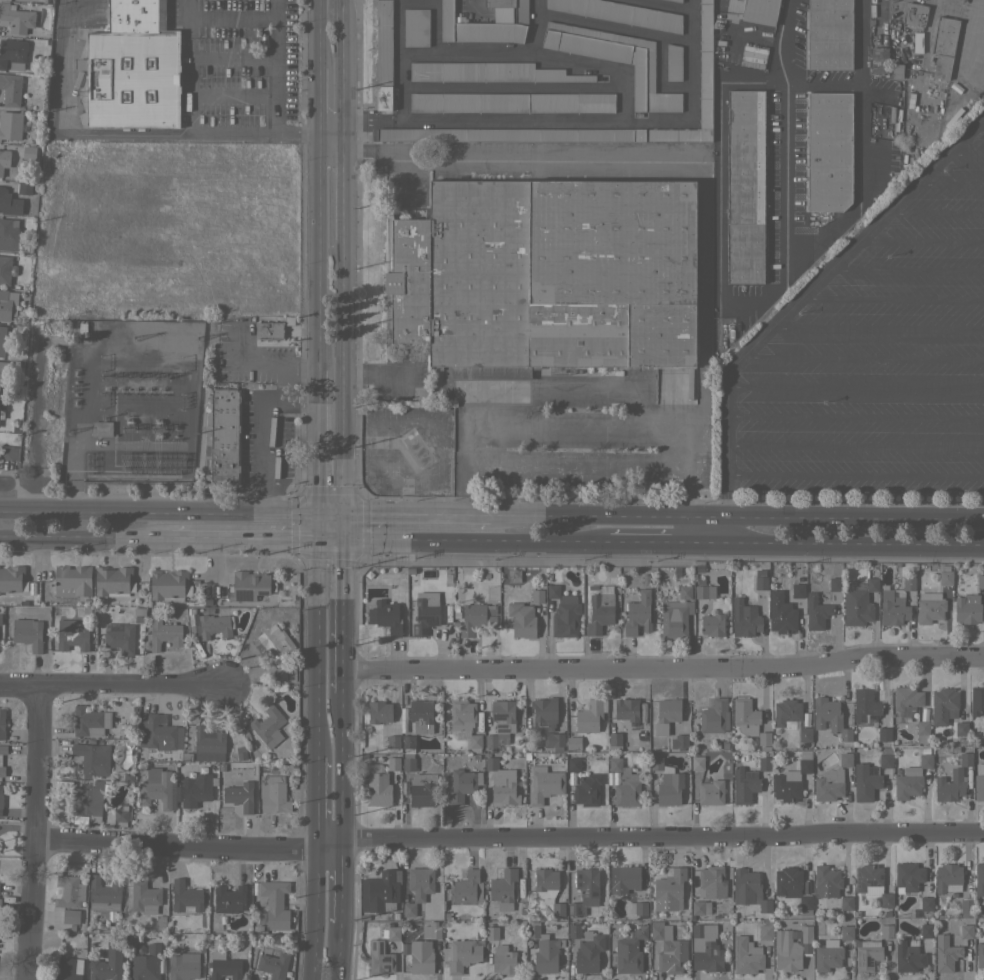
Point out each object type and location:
building: (672, 0)
building: (677, 0)
building: (499, 3)
road: (729, 3)
building: (760, 11)
building: (619, 13)
building: (136, 15)
building: (914, 15)
building: (16, 17)
building: (483, 26)
building: (416, 27)
road: (315, 34)
building: (829, 34)
building: (917, 41)
building: (944, 46)
building: (13, 53)
building: (383, 54)
building: (753, 56)
building: (616, 60)
building: (879, 60)
building: (673, 62)
building: (706, 64)
road: (187, 67)
road: (277, 67)
road: (343, 67)
building: (897, 71)
building: (488, 72)
road: (818, 76)
building: (134, 78)
building: (11, 89)
road: (314, 101)
building: (512, 102)
road: (515, 122)
road: (980, 122)
building: (10, 125)
road: (137, 134)
building: (828, 150)
building: (29, 151)
road: (965, 153)
building: (4, 159)
road: (530, 160)
road: (950, 183)
building: (745, 186)
road: (343, 187)
building: (24, 188)
road: (861, 192)
building: (6, 200)
road: (936, 211)
building: (8, 234)
road: (920, 240)
road: (314, 251)
road: (907, 268)
building: (6, 269)
building: (546, 276)
road: (804, 293)
road: (702, 297)
road: (892, 297)
building: (7, 304)
road: (717, 307)
road: (878, 327)
building: (269, 330)
building: (2, 340)
road: (864, 357)
road: (282, 369)
building: (3, 372)
road: (342, 378)
road: (855, 390)
road: (587, 391)
power substation: (130, 400)
building: (2, 404)
road: (855, 418)
road: (579, 425)
building: (15, 428)
building: (101, 428)
road: (268, 433)
building: (224, 436)
road: (315, 442)
road: (855, 445)
building: (9, 453)
road: (581, 467)
road: (855, 475)
road: (4, 485)
road: (170, 513)
traffic signals: (314, 516)
traffic signals: (342, 516)
road: (414, 516)
road: (587, 516)
road: (706, 517)
road: (854, 518)
road: (343, 527)
road: (689, 530)
road: (723, 530)
road: (84, 534)
road: (241, 537)
traffic signals: (314, 538)
traffic signals: (344, 539)
road: (313, 540)
road: (460, 540)
road: (648, 542)
road: (706, 543)
road: (853, 543)
building: (699, 568)
building: (677, 572)
building: (513, 575)
building: (944, 576)
building: (12, 578)
building: (557, 578)
building: (760, 579)
building: (72, 580)
building: (645, 580)
building: (113, 581)
building: (980, 581)
building: (700, 582)
building: (834, 584)
building: (908, 584)
building: (169, 585)
building: (249, 585)
building: (797, 590)
building: (553, 591)
building: (704, 591)
rooftop solar panel: (249, 592)
rooftop solar panel: (264, 592)
building: (685, 592)
rooftop solar panel: (242, 594)
building: (537, 595)
building: (858, 602)
building: (892, 607)
building: (929, 607)
building: (968, 608)
building: (600, 610)
building: (425, 612)
building: (455, 612)
building: (816, 612)
building: (638, 613)
building: (780, 613)
road: (347, 615)
building: (386, 616)
building: (565, 617)
building: (744, 618)
building: (471, 619)
building: (521, 619)
building: (673, 619)
building: (193, 623)
building: (712, 624)
building: (215, 625)
building: (1, 628)
building: (163, 632)
building: (28, 633)
building: (71, 635)
building: (119, 637)
building: (272, 640)
road: (314, 660)
road: (666, 667)
building: (286, 672)
road: (113, 683)
building: (907, 700)
building: (977, 700)
building: (865, 705)
building: (944, 705)
building: (626, 709)
building: (379, 711)
building: (403, 713)
building: (544, 713)
building: (786, 713)
building: (925, 713)
building: (666, 714)
building: (590, 715)
building: (745, 715)
building: (421, 716)
building: (714, 716)
building: (830, 717)
building: (804, 720)
building: (90, 721)
building: (501, 722)
building: (2, 723)
building: (464, 723)
building: (268, 726)
building: (403, 726)
building: (488, 728)
building: (961, 728)
building: (158, 732)
building: (922, 732)
building: (805, 734)
building: (884, 734)
building: (614, 738)
building: (764, 738)
building: (553, 740)
building: (393, 741)
building: (679, 741)
building: (573, 742)
building: (408, 743)
building: (208, 744)
building: (613, 748)
building: (924, 751)
building: (238, 754)
rooftop solar panel: (808, 755)
building: (92, 758)
building: (844, 759)
building: (0, 760)
building: (885, 760)
building: (925, 760)
building: (804, 762)
building: (573, 763)
building: (655, 763)
building: (697, 763)
building: (764, 763)
building: (391, 764)
building: (408, 764)
road: (346, 768)
building: (952, 781)
building: (865, 782)
building: (979, 782)
building: (500, 783)
building: (624, 783)
building: (907, 784)
building: (462, 785)
building: (545, 785)
building: (744, 785)
building: (829, 785)
building: (377, 786)
building: (787, 786)
building: (404, 787)
building: (174, 788)
building: (669, 788)
building: (422, 789)
building: (587, 789)
building: (710, 792)
building: (273, 794)
building: (239, 795)
building: (1, 798)
road: (316, 800)
building: (87, 801)
building: (120, 815)
road: (35, 831)
road: (663, 840)
road: (98, 844)
road: (252, 844)
building: (908, 876)
building: (948, 877)
building: (624, 878)
building: (979, 879)
building: (827, 881)
building: (420, 882)
building: (712, 882)
road: (341, 883)
building: (872, 883)
building: (671, 885)
building: (467, 887)
building: (792, 887)
building: (806, 887)
building: (503, 888)
building: (548, 888)
building: (749, 889)
building: (585, 890)
rooftop solar panel: (585, 890)
building: (68, 891)
building: (381, 891)
building: (104, 894)
building: (144, 897)
building: (183, 897)
building: (409, 897)
building: (229, 898)
building: (836, 902)
building: (846, 902)
building: (926, 903)
building: (273, 904)
building: (827, 905)
building: (966, 905)
building: (700, 907)
building: (629, 908)
building: (640, 908)
building: (836, 908)
building: (408, 909)
building: (417, 909)
road: (312, 911)
building: (521, 911)
building: (885, 914)
building: (395, 915)
building: (70, 916)
building: (388, 916)
building: (447, 916)
building: (363, 917)
building: (541, 919)
building: (160, 922)
building: (982, 922)
building: (431, 930)
building: (532, 930)
building: (886, 931)
building: (926, 931)
building: (966, 931)
building: (492, 932)
building: (765, 932)
building: (846, 932)
building: (393, 933)
building: (543, 937)
building: (792, 947)
building: (586, 948)
building: (668, 948)
building: (705, 948)
building: (630, 950)
road: (339, 951)
building: (945, 953)
building: (462, 954)
building: (866, 954)
building: (419, 955)
building: (547, 955)
building: (746, 955)
building: (828, 955)
building: (908, 955)
building: (980, 955)
building: (379, 958)
building: (503, 958)
building: (273, 962)
building: (146, 964)
building: (183, 966)
building: (224, 966)
building: (68, 969)
building: (104, 970)

